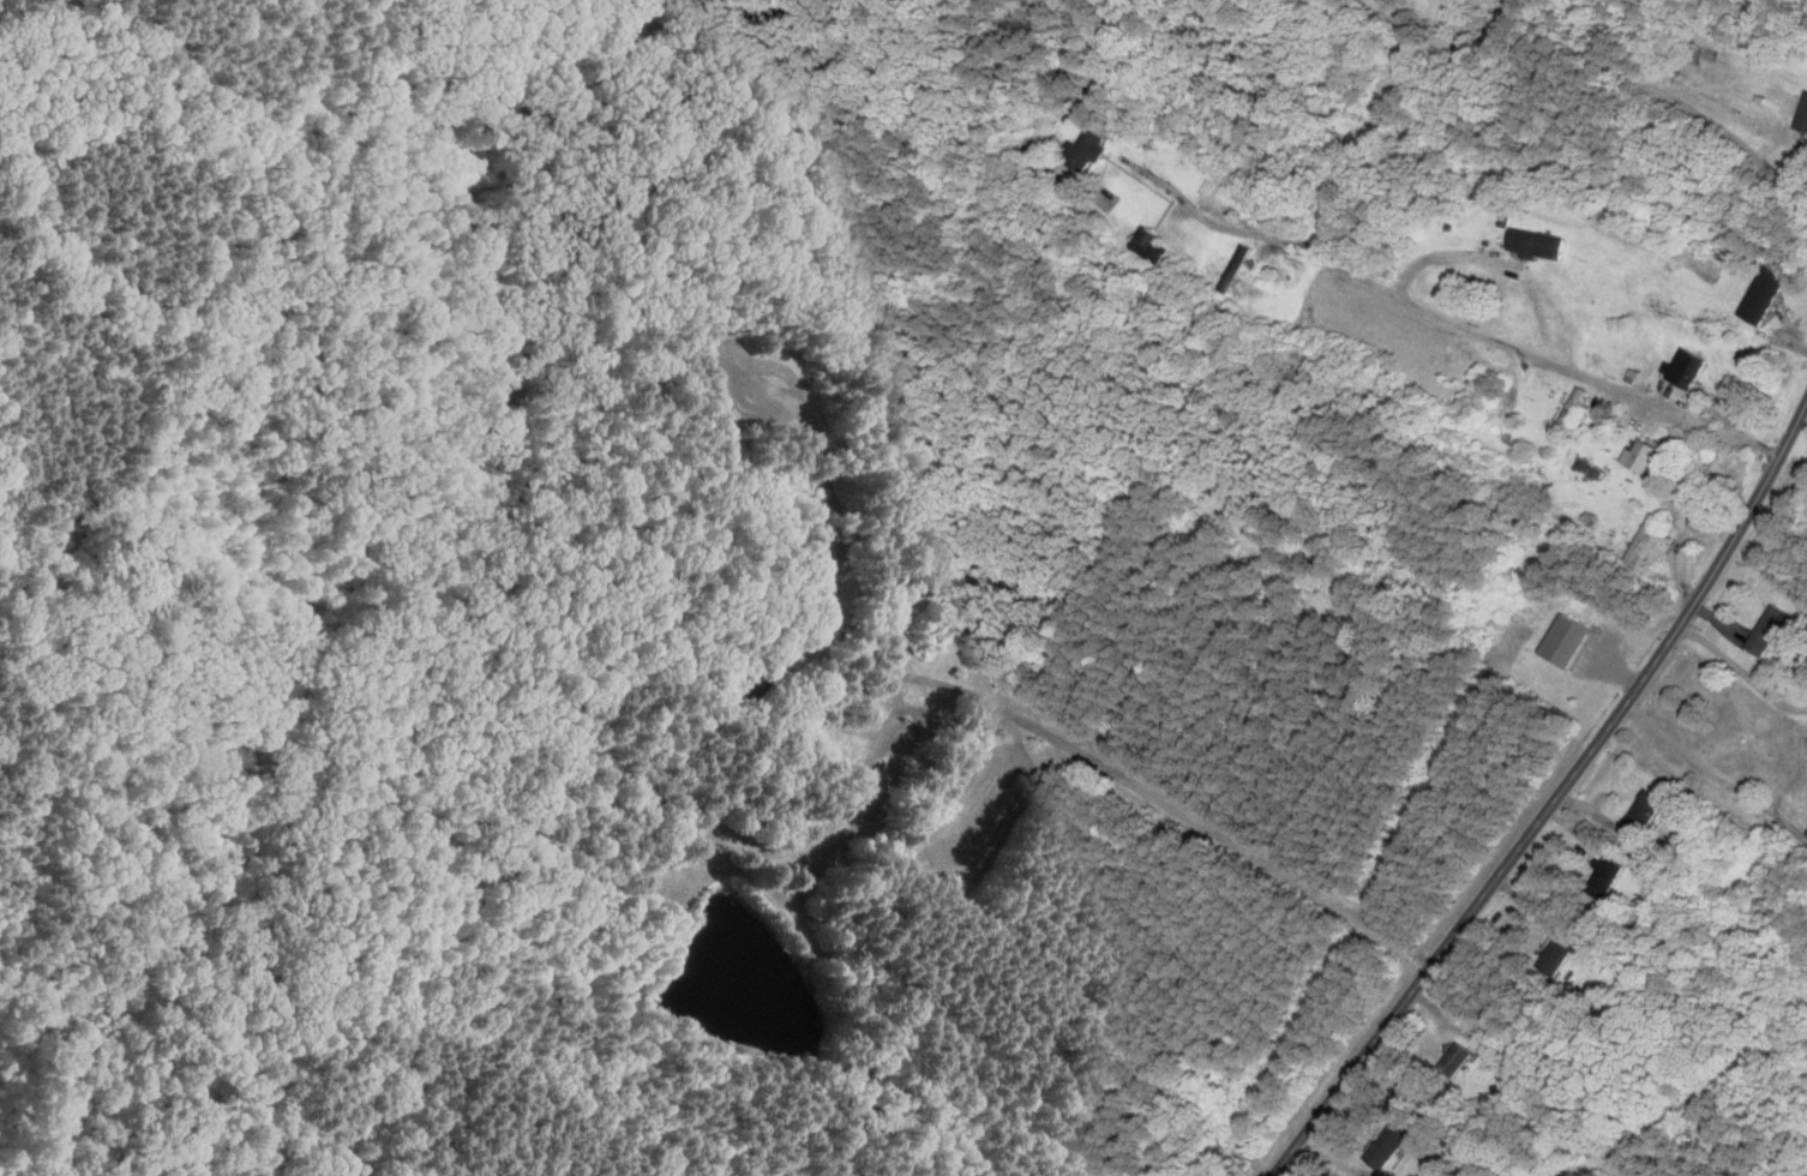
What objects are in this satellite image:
building: (1805, 121)
building: (1088, 151)
building: (1153, 245)
building: (1538, 245)
building: (1238, 269)
building: (1765, 295)
road: (1483, 334)
building: (1693, 367)
building: (1575, 410)
building: (1645, 456)
building: (1644, 541)
building: (1779, 629)
building: (1571, 641)
road: (1741, 671)
building: (757, 692)
road: (1554, 803)
building: (1647, 812)
building: (1608, 878)
building: (1559, 956)
building: (1461, 1057)
building: (1394, 1142)

